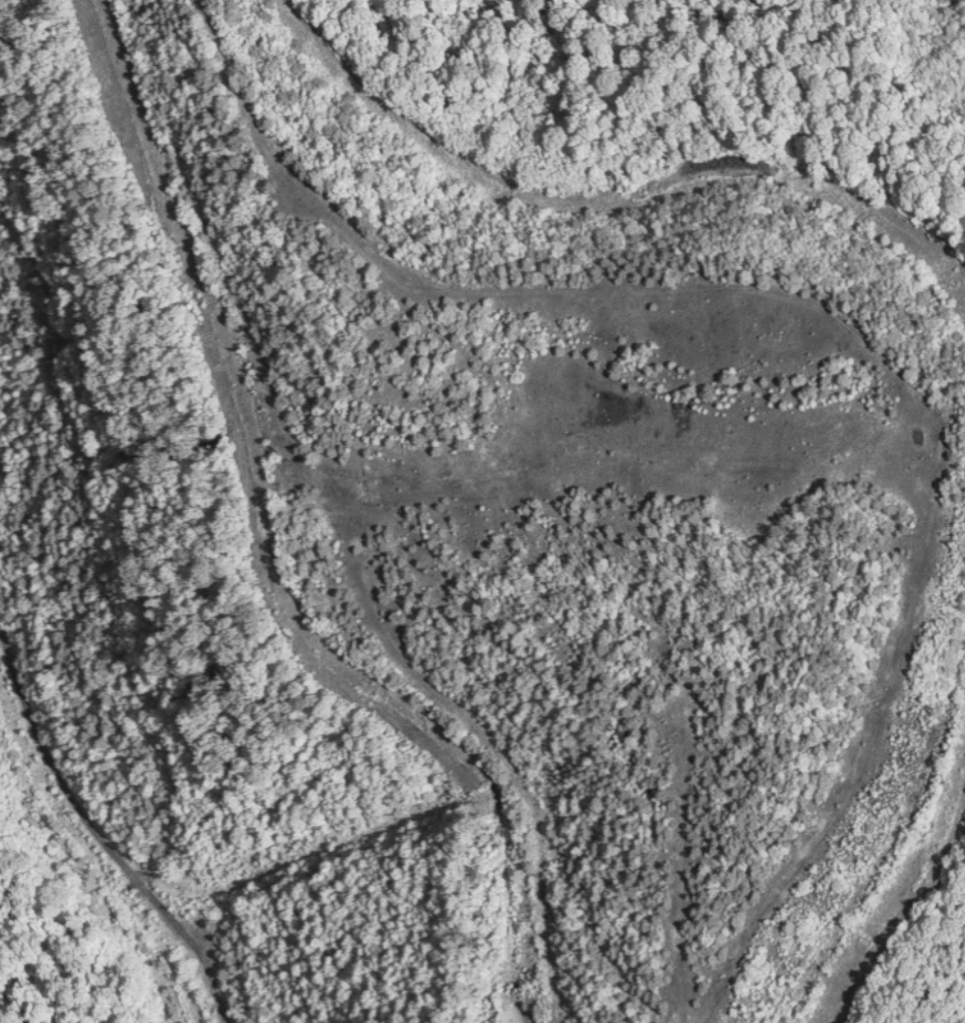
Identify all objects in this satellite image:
quarry: (482, 511)

